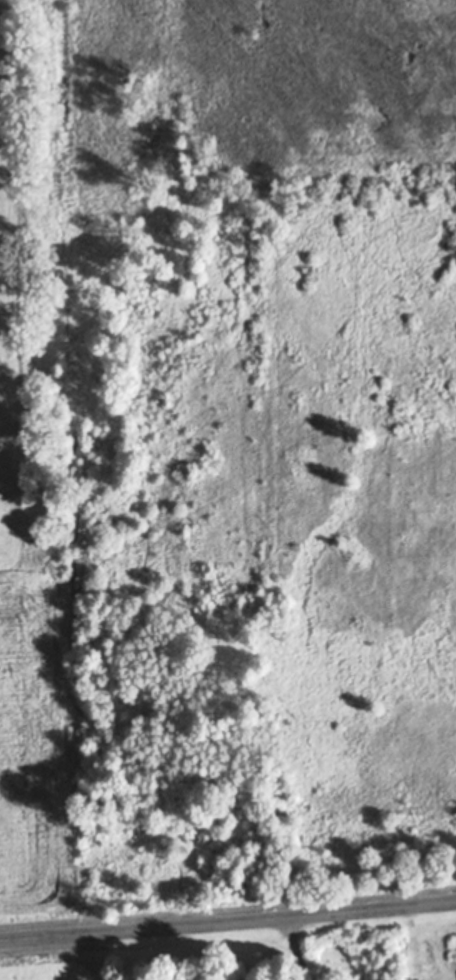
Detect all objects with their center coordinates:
road: (228, 923)

